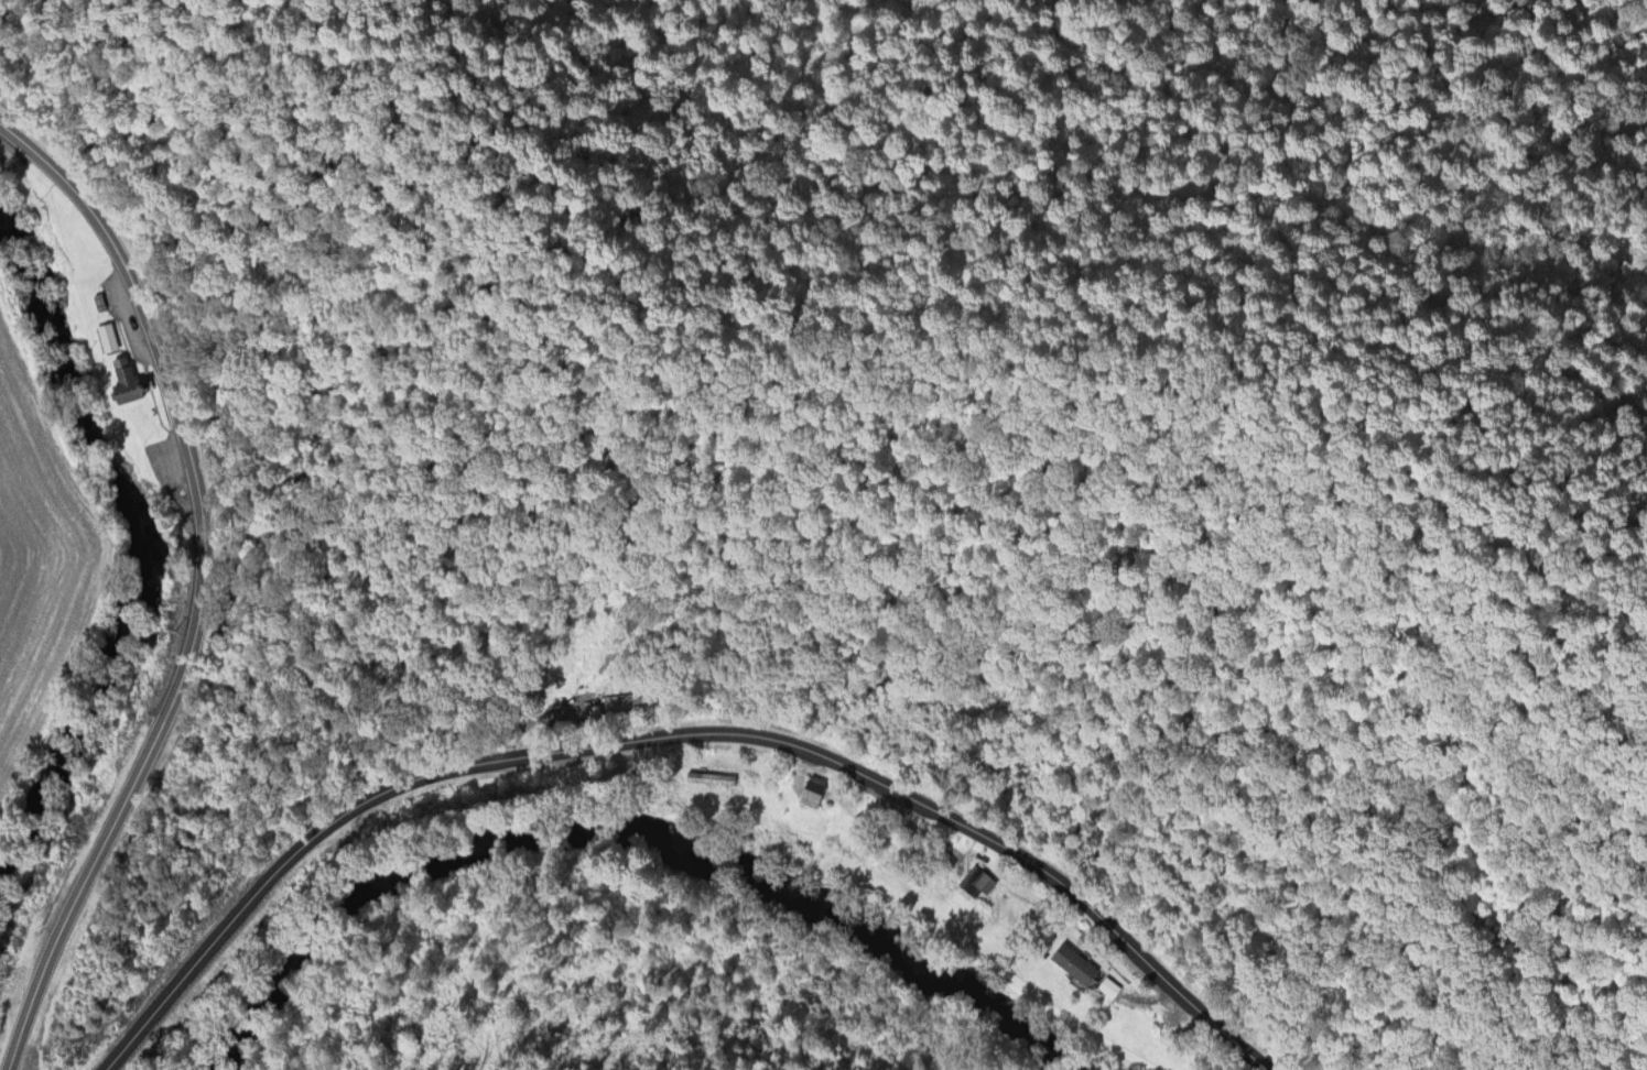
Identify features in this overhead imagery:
parking lot: (131, 315)
building: (108, 332)
building: (129, 380)
parking lot: (175, 467)
river: (132, 526)
crop: (44, 547)
road: (205, 583)
road: (676, 731)
building: (711, 775)
building: (813, 787)
river: (642, 821)
building: (977, 876)
building: (1117, 998)
building: (1146, 1020)

